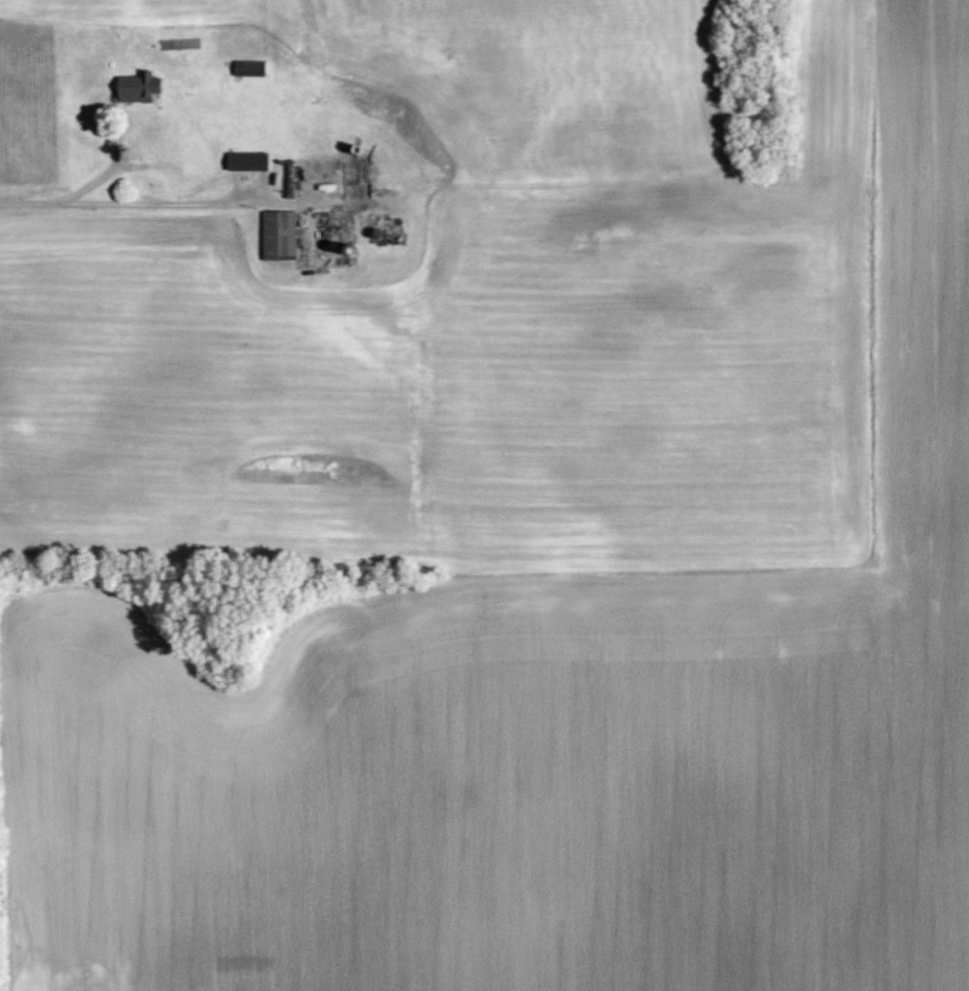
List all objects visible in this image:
building: (248, 68)
building: (135, 87)
building: (247, 161)
building: (287, 178)
road: (154, 204)
building: (279, 235)

